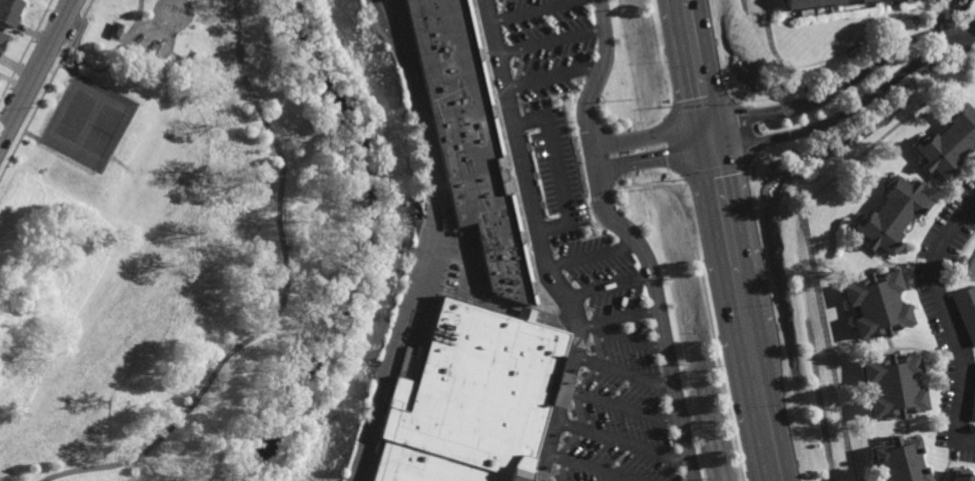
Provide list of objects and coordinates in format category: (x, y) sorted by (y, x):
building: (867, 0)
building: (807, 2)
road: (536, 11)
building: (9, 12)
road: (942, 15)
road: (76, 16)
building: (114, 31)
building: (1, 40)
road: (552, 41)
road: (109, 65)
road: (36, 70)
road: (555, 75)
road: (852, 78)
road: (854, 103)
traffic signals: (724, 122)
park: (87, 123)
traffic signals: (699, 126)
road: (658, 134)
building: (469, 139)
building: (949, 140)
traffic signals: (728, 146)
traffic signals: (704, 150)
road: (662, 157)
building: (894, 213)
road: (636, 235)
road: (426, 239)
road: (721, 240)
road: (746, 240)
park: (186, 241)
road: (546, 245)
road: (598, 256)
road: (614, 289)
road: (279, 301)
road: (501, 302)
building: (875, 305)
building: (966, 311)
road: (637, 317)
road: (939, 327)
road: (629, 333)
road: (632, 368)
parking lot: (622, 374)
building: (893, 384)
building: (469, 399)
building: (973, 402)
road: (628, 407)
road: (628, 438)
building: (902, 460)
road: (601, 467)
building: (961, 475)

